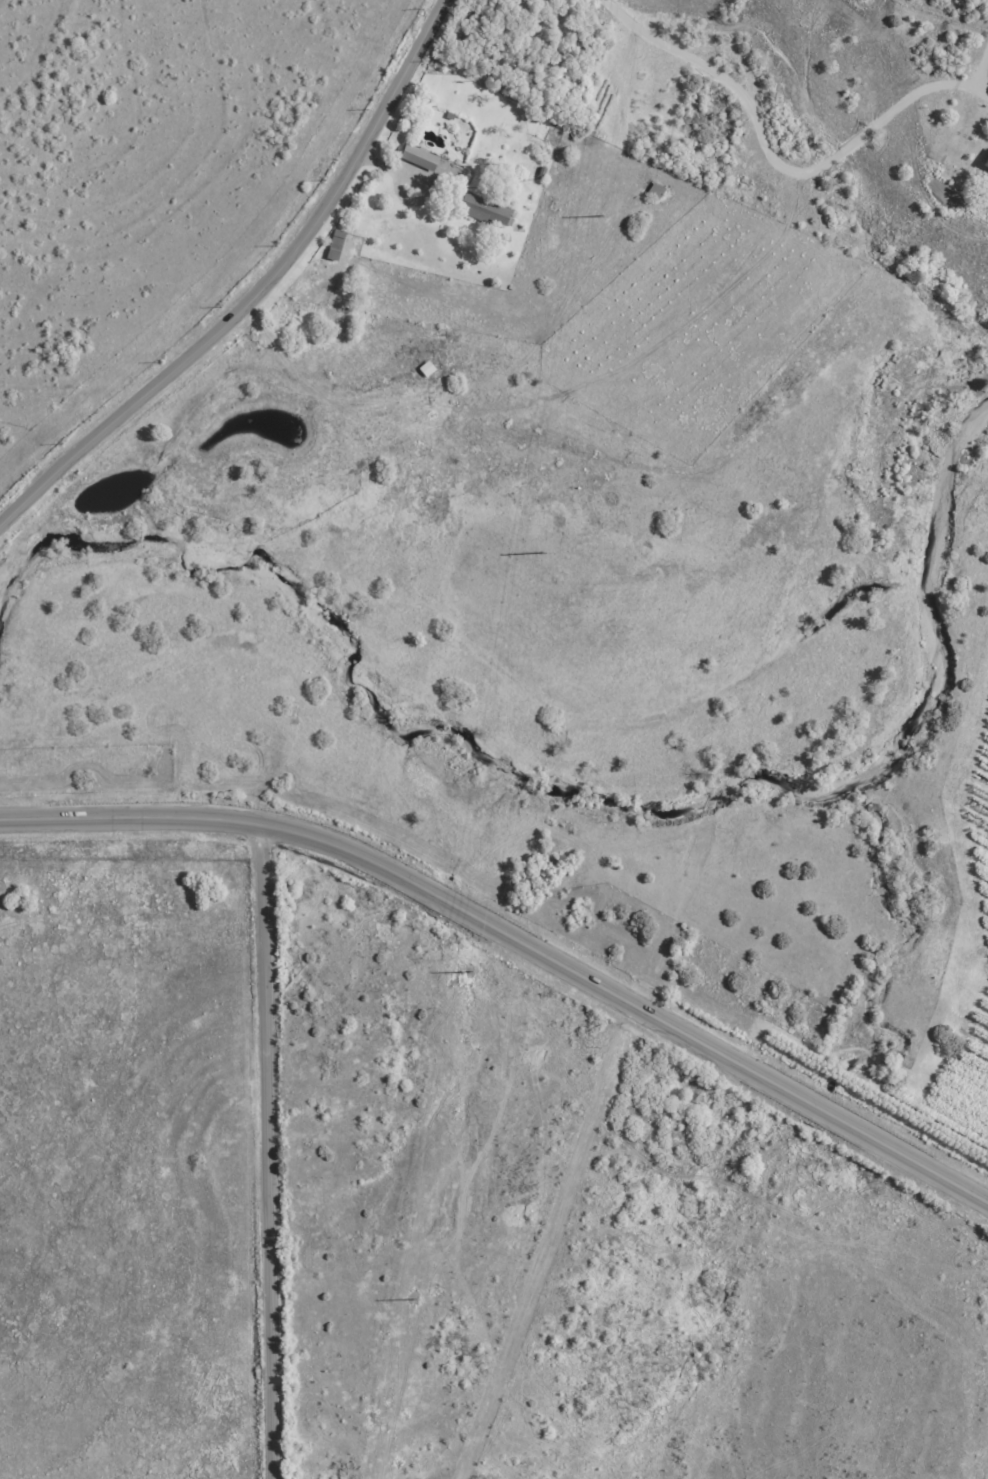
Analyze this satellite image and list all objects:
building: (452, 116)
building: (535, 120)
building: (422, 159)
building: (987, 166)
building: (545, 173)
building: (658, 193)
building: (487, 211)
building: (337, 245)
building: (512, 288)
road: (255, 292)
road: (514, 937)
road: (268, 1152)
road: (637, 1322)
road: (695, 1413)
road: (768, 1462)

